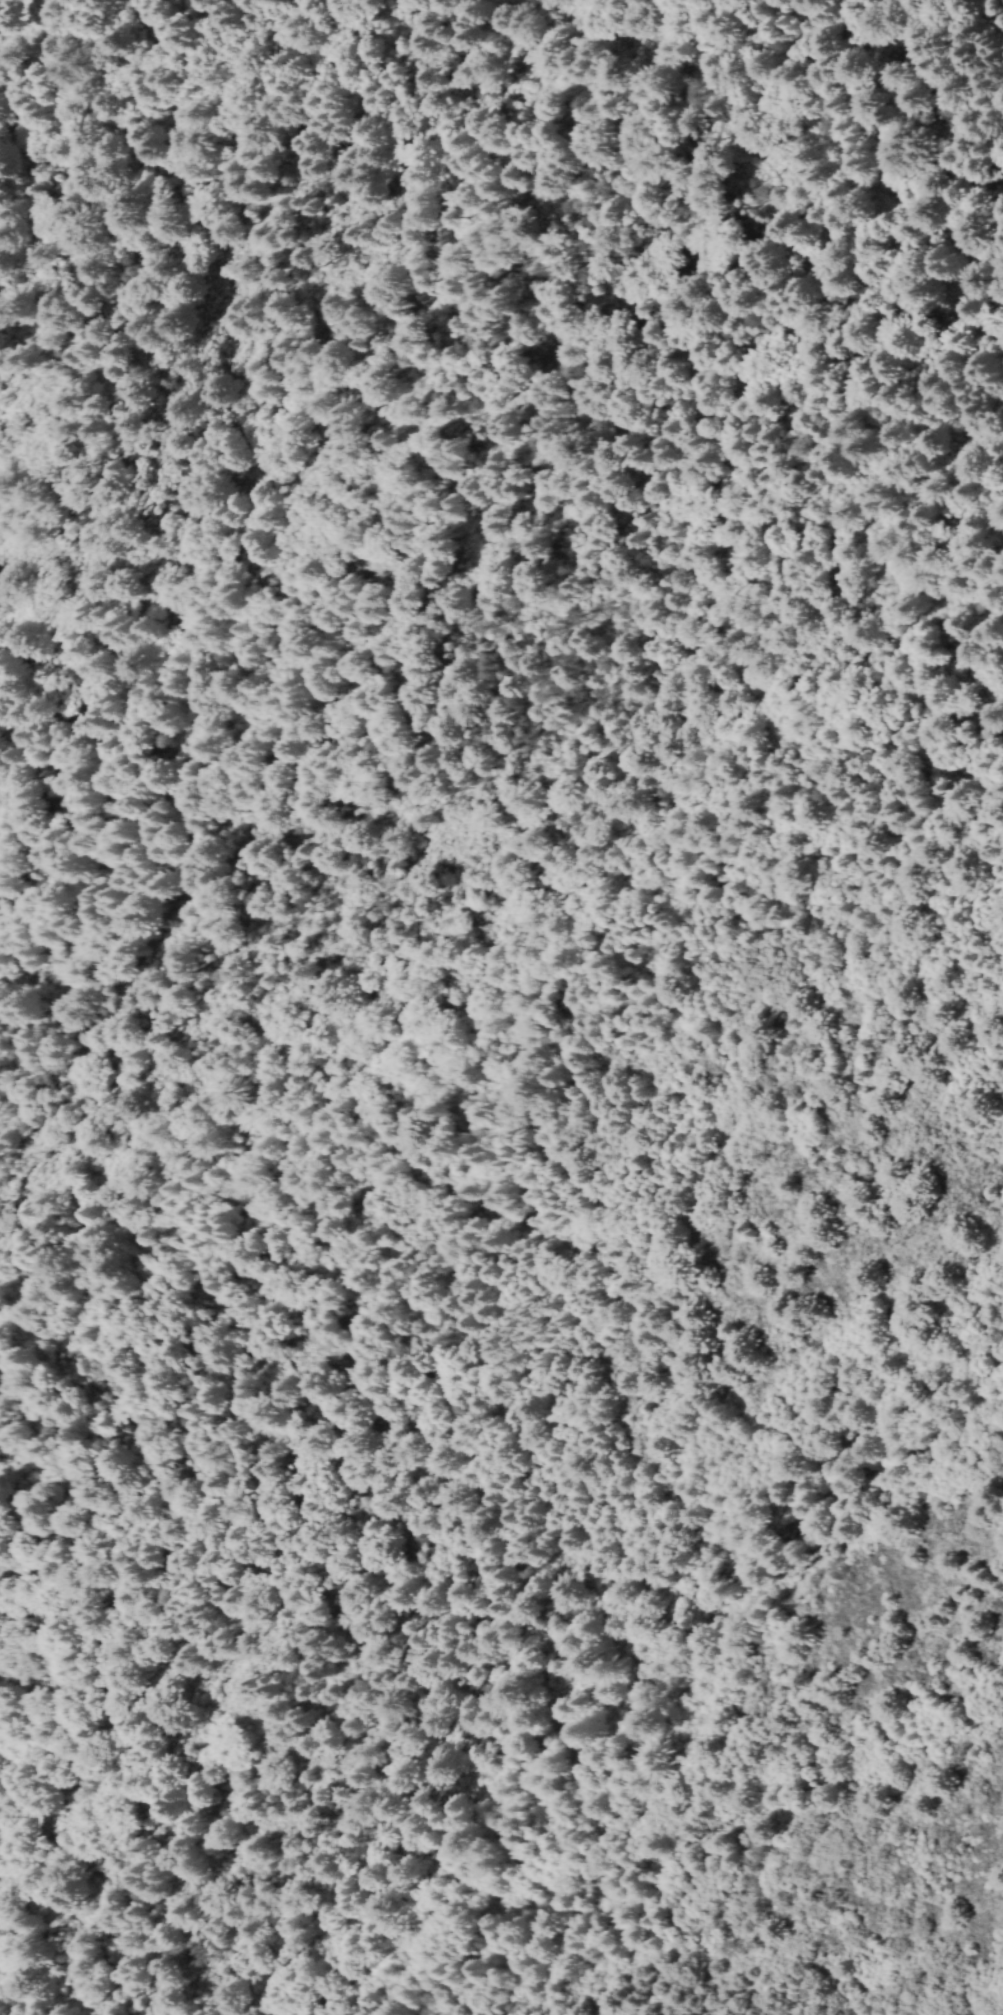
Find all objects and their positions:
road: (889, 178)

